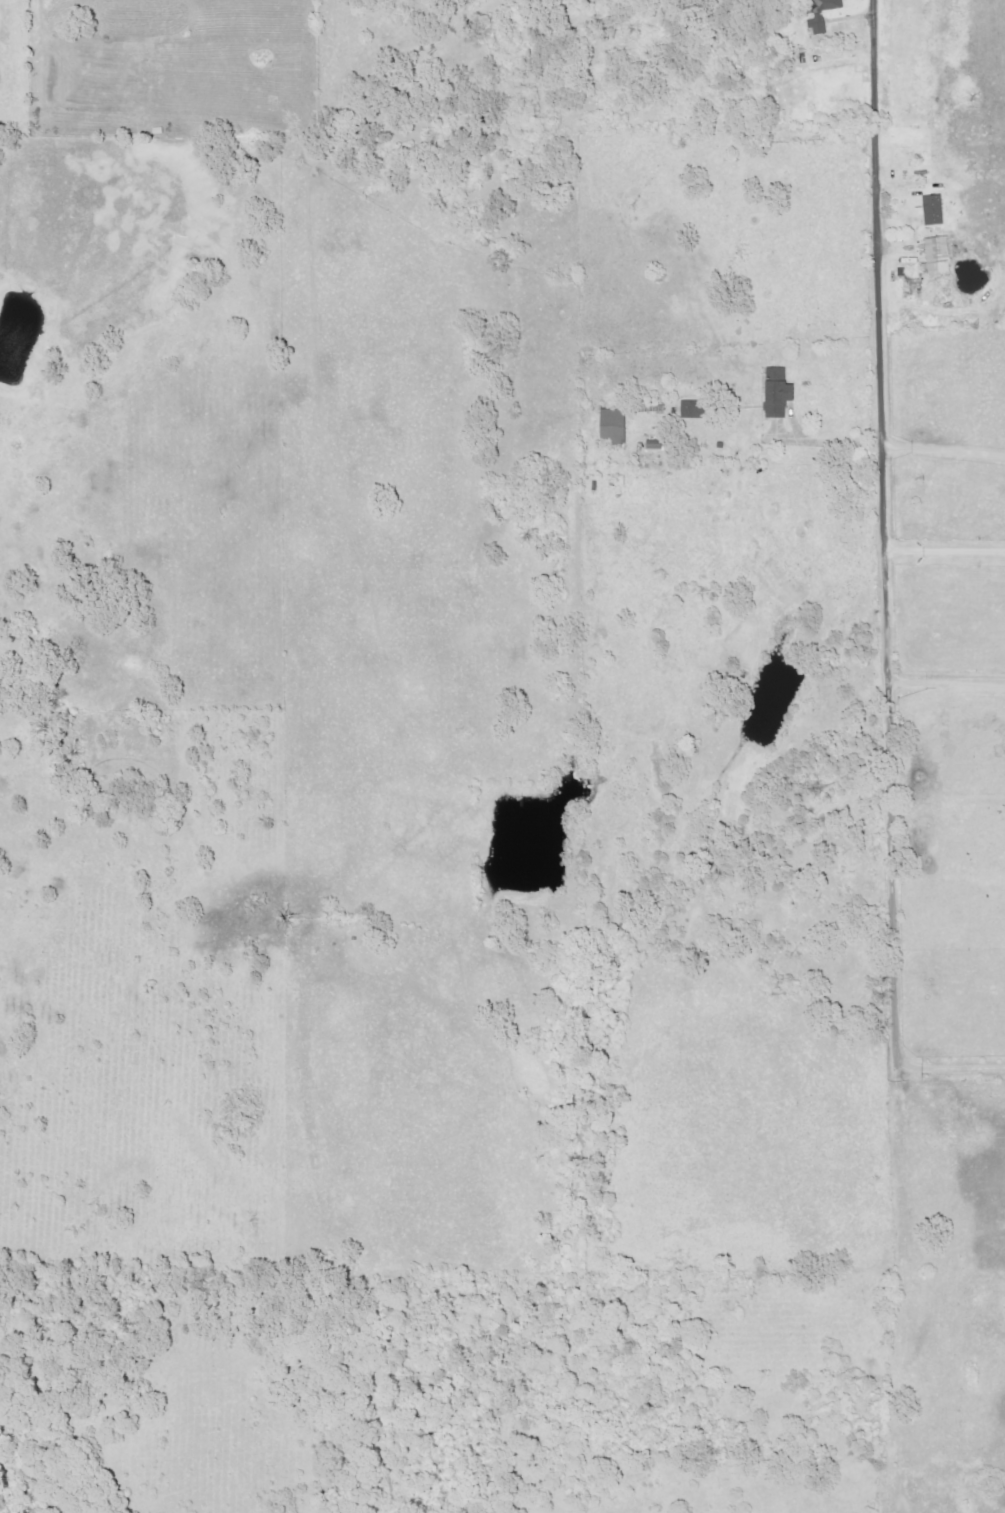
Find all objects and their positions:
road: (29, 13)
building: (823, 14)
building: (935, 210)
building: (939, 255)
building: (779, 393)
building: (696, 409)
building: (615, 427)
road: (943, 436)
road: (826, 442)
building: (656, 445)
road: (943, 549)
road: (945, 671)
road: (888, 758)
road: (953, 1069)

